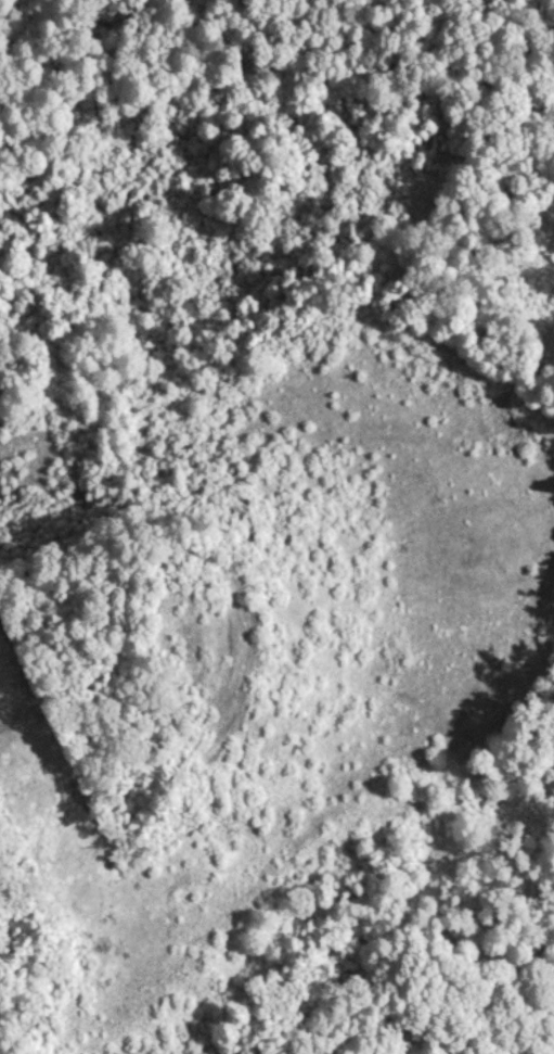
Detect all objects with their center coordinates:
power tower: (5, 725)

